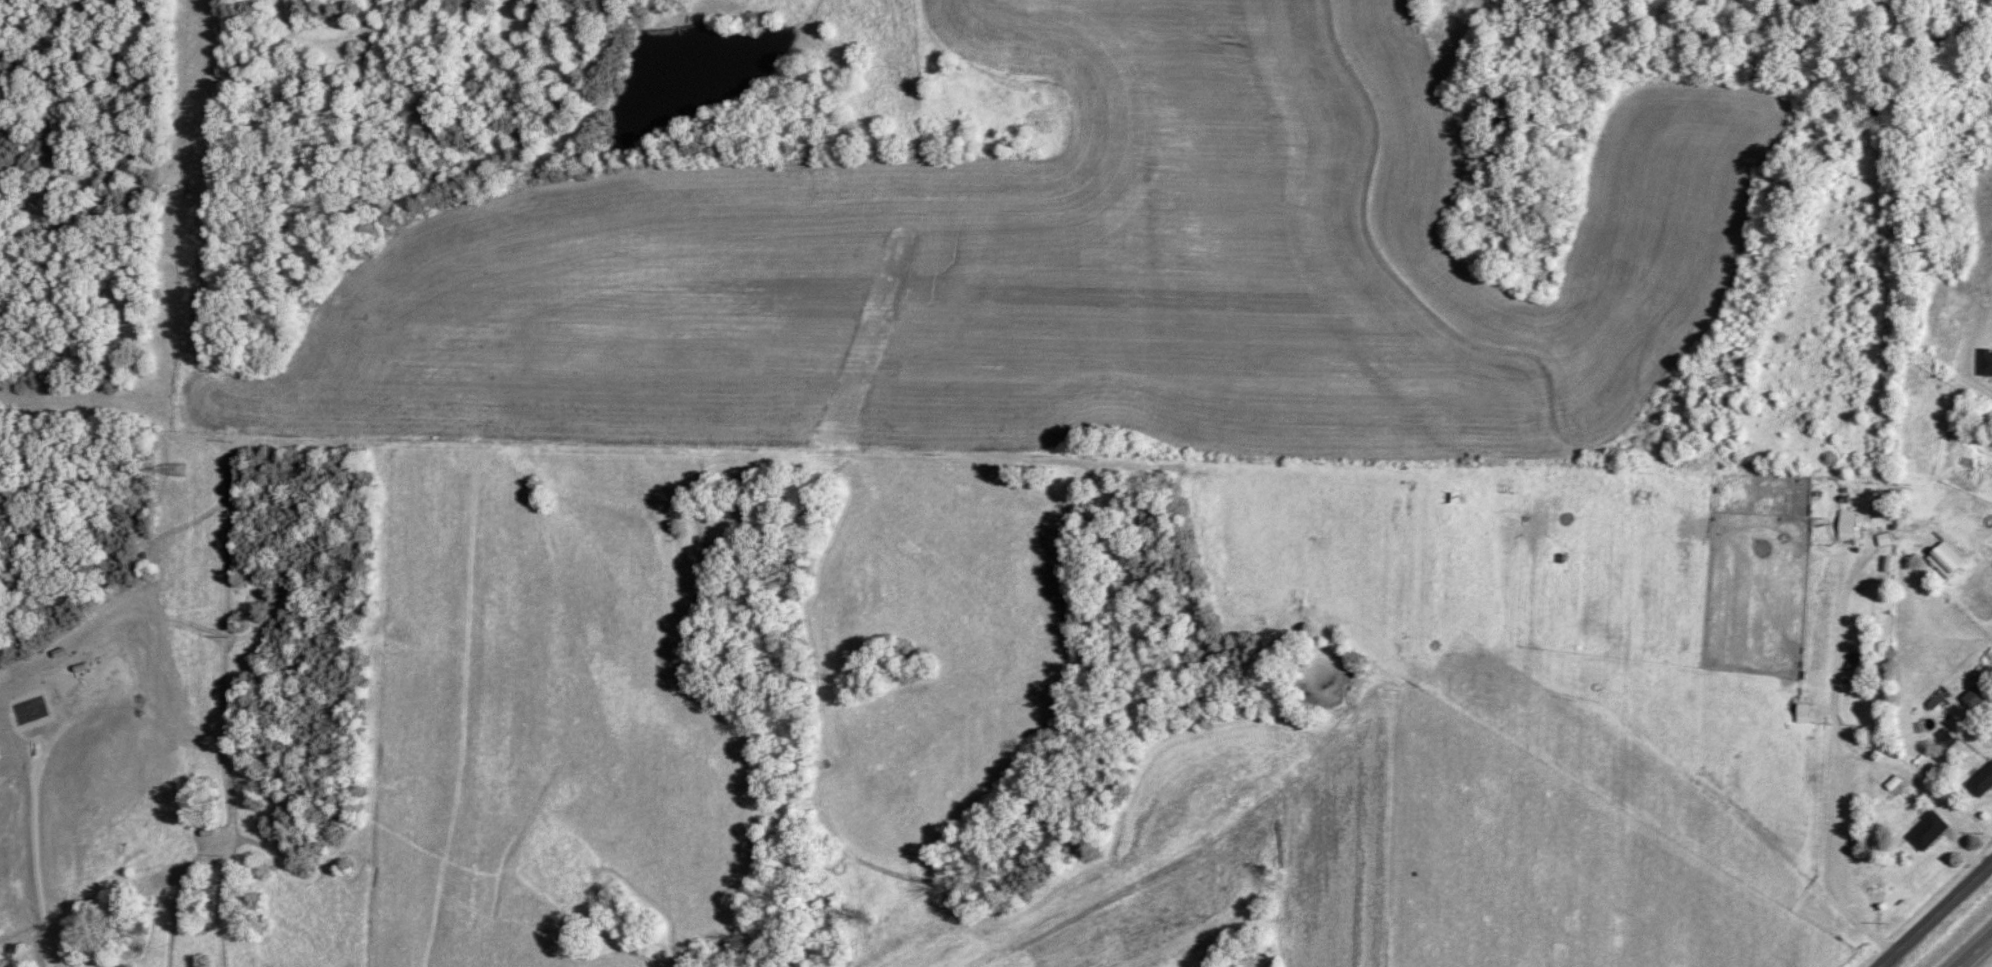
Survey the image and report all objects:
building: (1000, 84)
building: (1986, 364)
power tower: (182, 469)
building: (180, 471)
building: (1850, 525)
building: (1949, 560)
building: (1980, 696)
building: (1948, 739)
building: (1983, 785)
building: (1931, 833)
road: (1936, 915)
road: (1975, 951)

